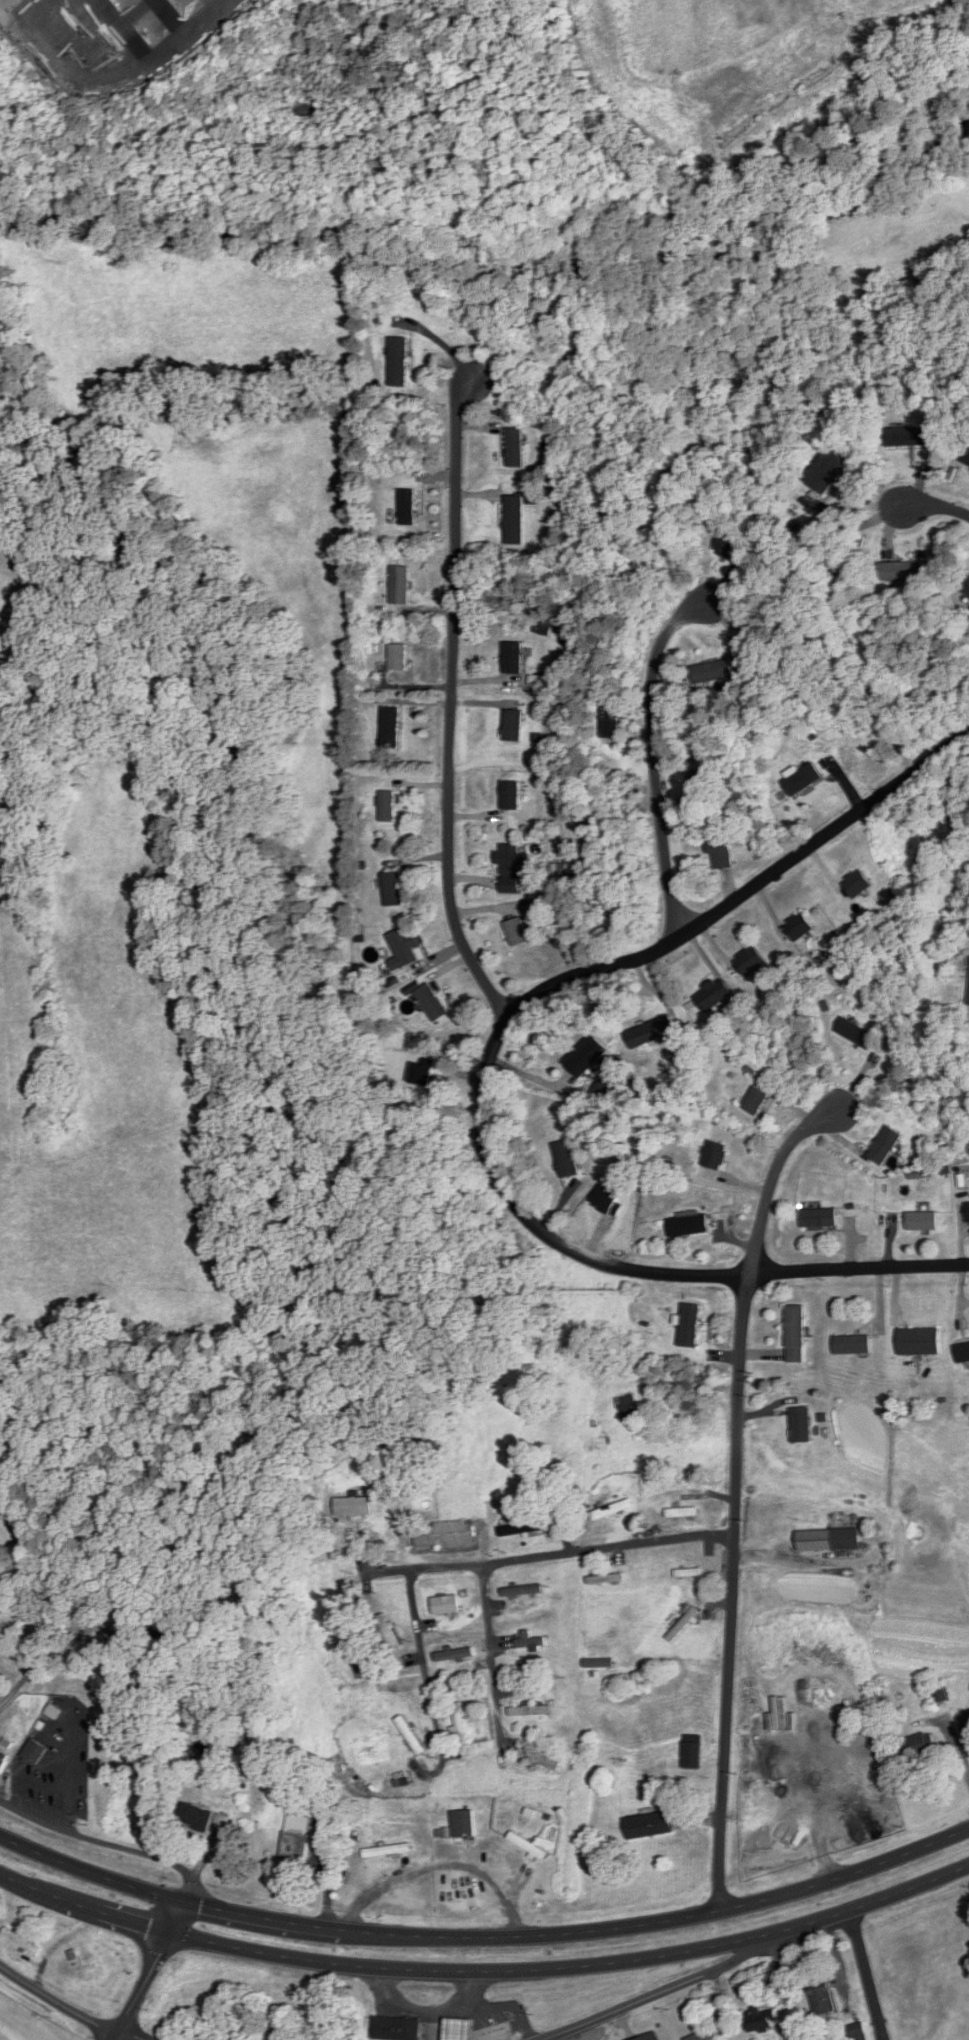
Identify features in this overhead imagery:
building: (399, 362)
building: (907, 437)
building: (516, 447)
building: (966, 459)
building: (407, 507)
road: (935, 508)
building: (515, 521)
building: (730, 547)
building: (901, 572)
building: (401, 585)
building: (966, 589)
building: (399, 657)
building: (514, 658)
building: (714, 672)
road: (450, 704)
building: (610, 721)
building: (513, 726)
building: (392, 728)
road: (654, 758)
building: (803, 780)
building: (700, 783)
building: (511, 796)
building: (388, 807)
building: (722, 851)
building: (510, 869)
building: (859, 884)
building: (393, 889)
building: (799, 928)
building: (518, 932)
building: (405, 948)
building: (750, 963)
building: (715, 996)
building: (432, 1003)
building: (650, 1033)
building: (857, 1034)
building: (585, 1057)
road: (480, 1077)
building: (756, 1101)
building: (886, 1145)
building: (716, 1155)
building: (567, 1159)
road: (770, 1180)
building: (968, 1212)
building: (820, 1218)
building: (922, 1221)
building: (691, 1225)
building: (690, 1325)
building: (796, 1334)
building: (920, 1342)
building: (853, 1344)
building: (963, 1353)
building: (629, 1408)
building: (802, 1425)
building: (354, 1506)
building: (612, 1510)
building: (682, 1512)
building: (520, 1528)
building: (445, 1533)
building: (830, 1540)
road: (550, 1553)
building: (688, 1572)
building: (606, 1579)
building: (523, 1590)
road: (729, 1591)
building: (446, 1605)
building: (385, 1632)
building: (530, 1640)
road: (40, 1643)
road: (491, 1652)
building: (454, 1654)
road: (424, 1664)
building: (940, 1696)
building: (531, 1710)
building: (967, 1721)
building: (461, 1724)
building: (410, 1735)
building: (920, 1745)
building: (35, 1751)
building: (693, 1752)
building: (539, 1759)
building: (3, 1763)
building: (401, 1782)
road: (62, 1791)
building: (312, 1802)
building: (195, 1816)
building: (463, 1824)
building: (650, 1825)
building: (297, 1837)
building: (529, 1846)
road: (123, 1848)
building: (388, 1851)
road: (441, 1864)
road: (485, 1938)
building: (22, 1942)
road: (485, 1971)
road: (143, 1985)
road: (651, 1995)
building: (823, 1999)
road: (72, 2008)
building: (762, 2019)
building: (397, 2028)
building: (460, 2029)
building: (858, 2031)
building: (708, 2035)
building: (649, 2037)

